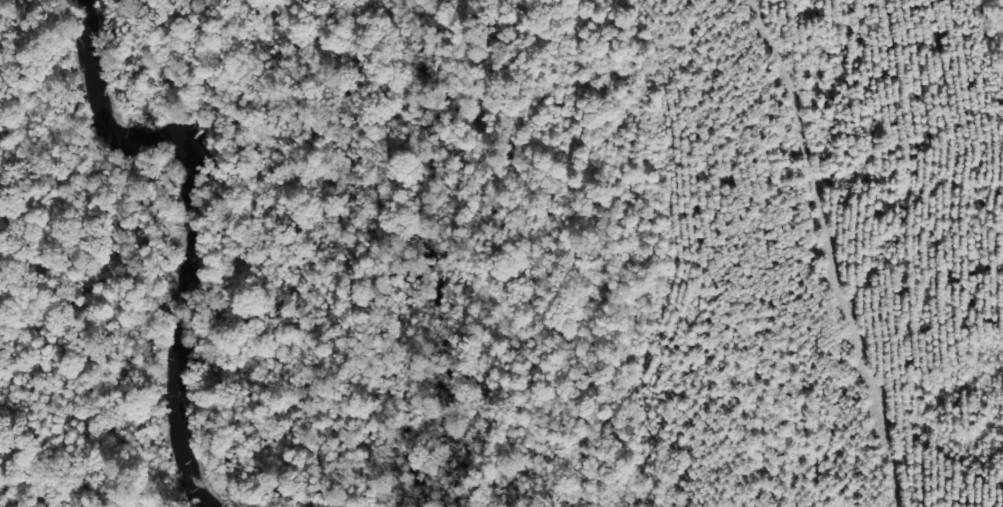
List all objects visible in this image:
road: (821, 252)

